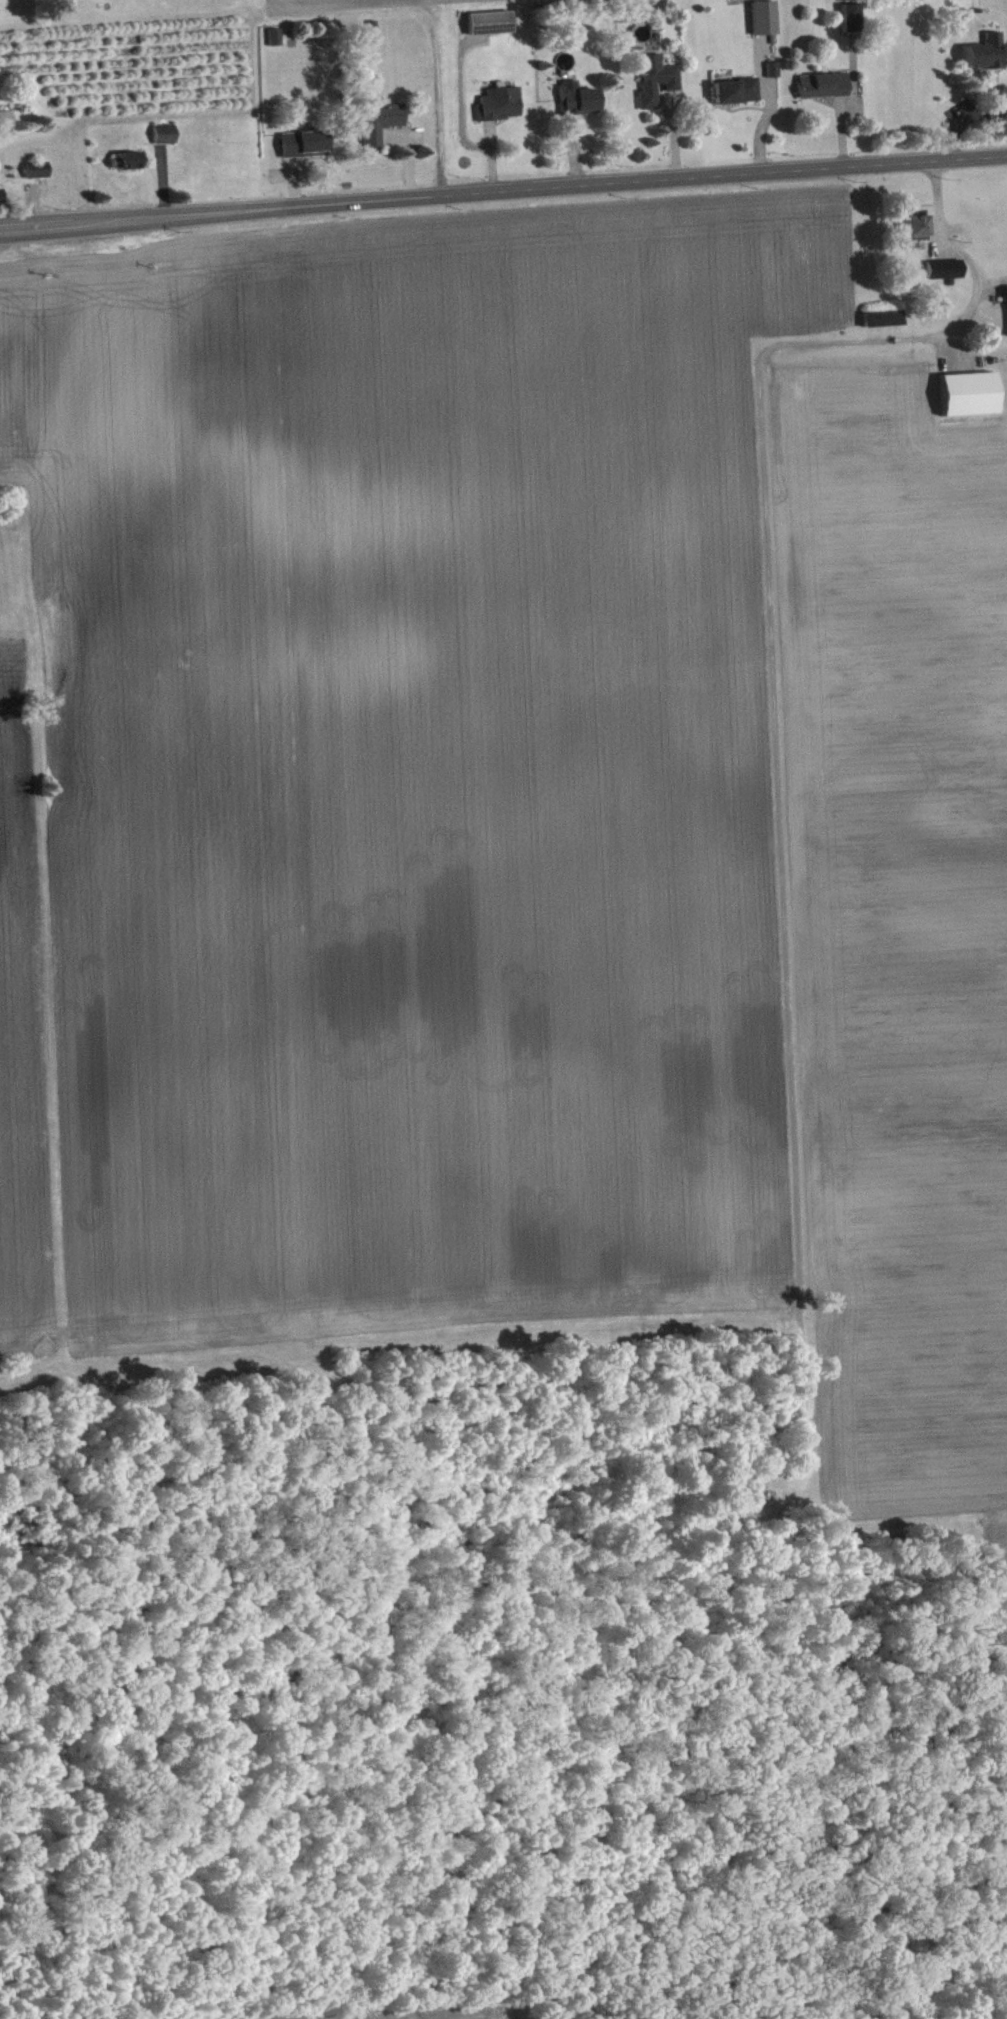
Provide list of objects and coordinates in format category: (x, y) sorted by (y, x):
building: (67, 8)
building: (766, 22)
building: (853, 22)
building: (492, 27)
building: (277, 41)
building: (986, 57)
building: (775, 74)
building: (658, 84)
building: (825, 90)
building: (738, 96)
building: (580, 103)
building: (502, 108)
building: (7, 124)
building: (383, 126)
building: (166, 139)
building: (306, 148)
building: (127, 166)
building: (39, 174)
road: (503, 191)
building: (2, 202)
building: (917, 233)
road: (962, 257)
building: (946, 274)
building: (885, 323)
building: (969, 399)

